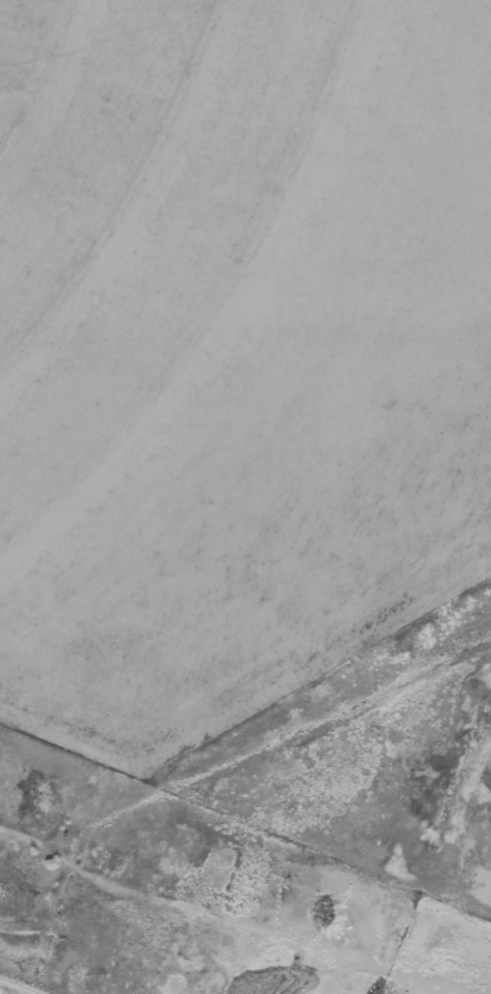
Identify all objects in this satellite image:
railway: (17, 986)

